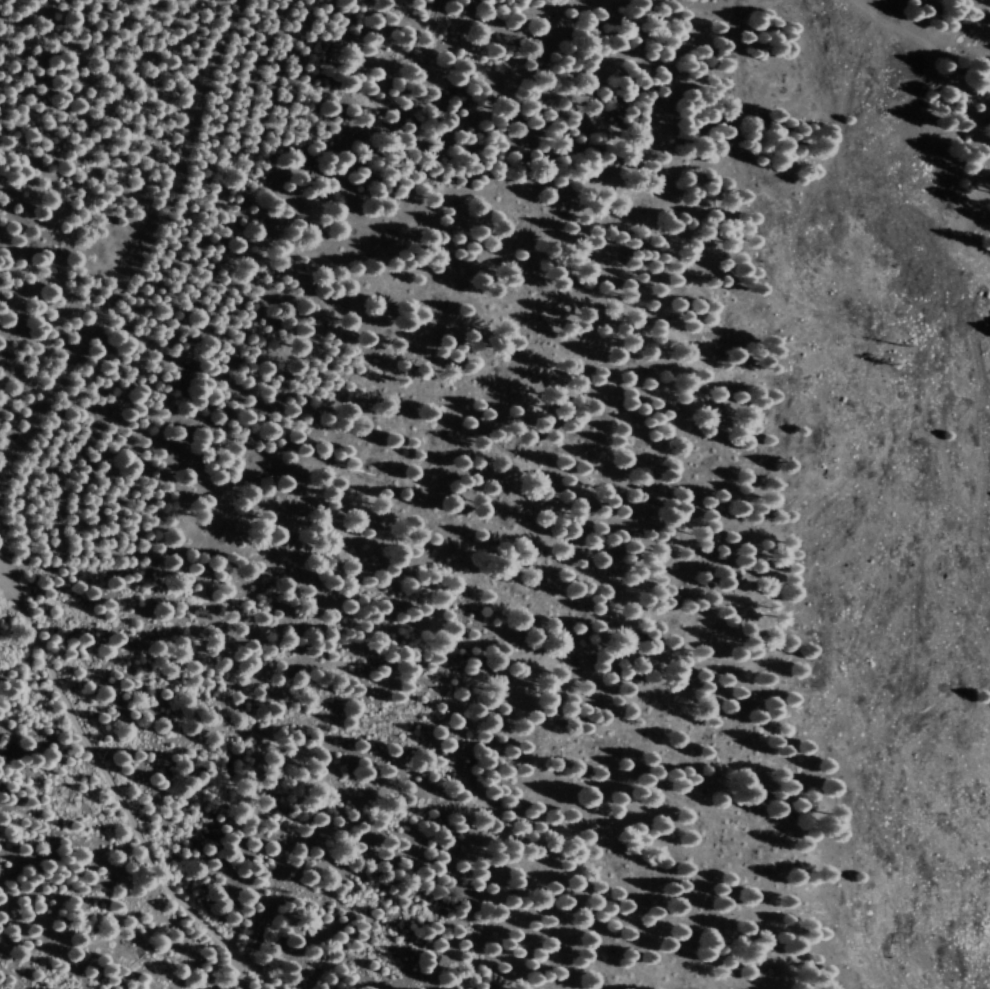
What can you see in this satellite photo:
road: (154, 276)
road: (117, 803)

